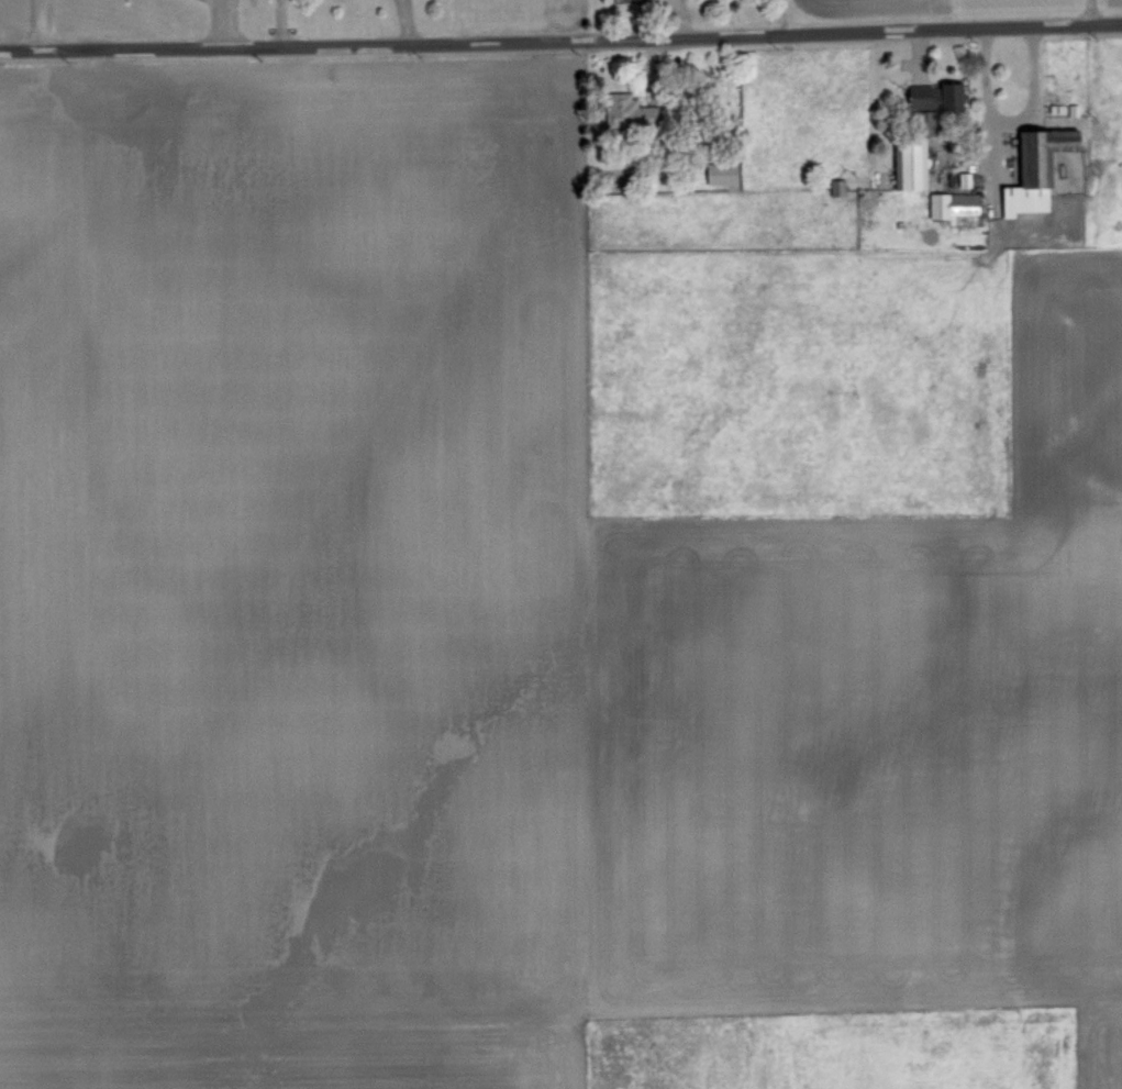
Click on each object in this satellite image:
road: (1087, 11)
road: (278, 22)
road: (224, 23)
road: (38, 24)
road: (560, 40)
building: (932, 95)
road: (1007, 124)
building: (906, 162)
building: (1032, 168)
building: (719, 173)
building: (834, 185)
building: (949, 202)

